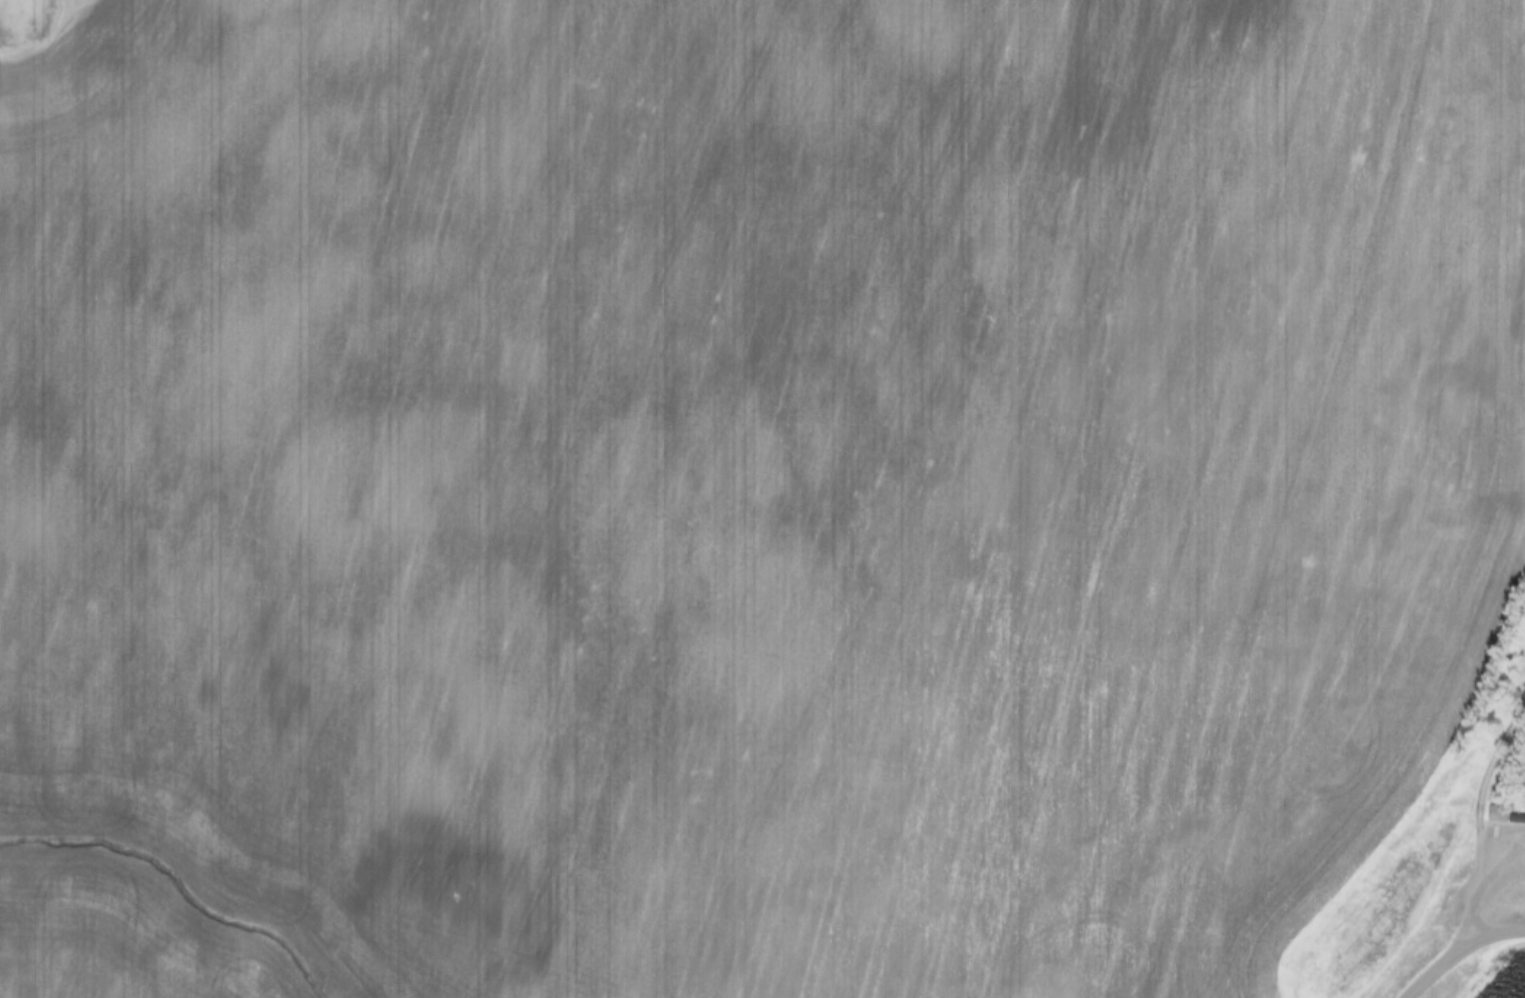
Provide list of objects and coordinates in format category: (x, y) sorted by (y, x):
building: (1498, 815)
road: (1482, 898)
road: (1468, 955)

